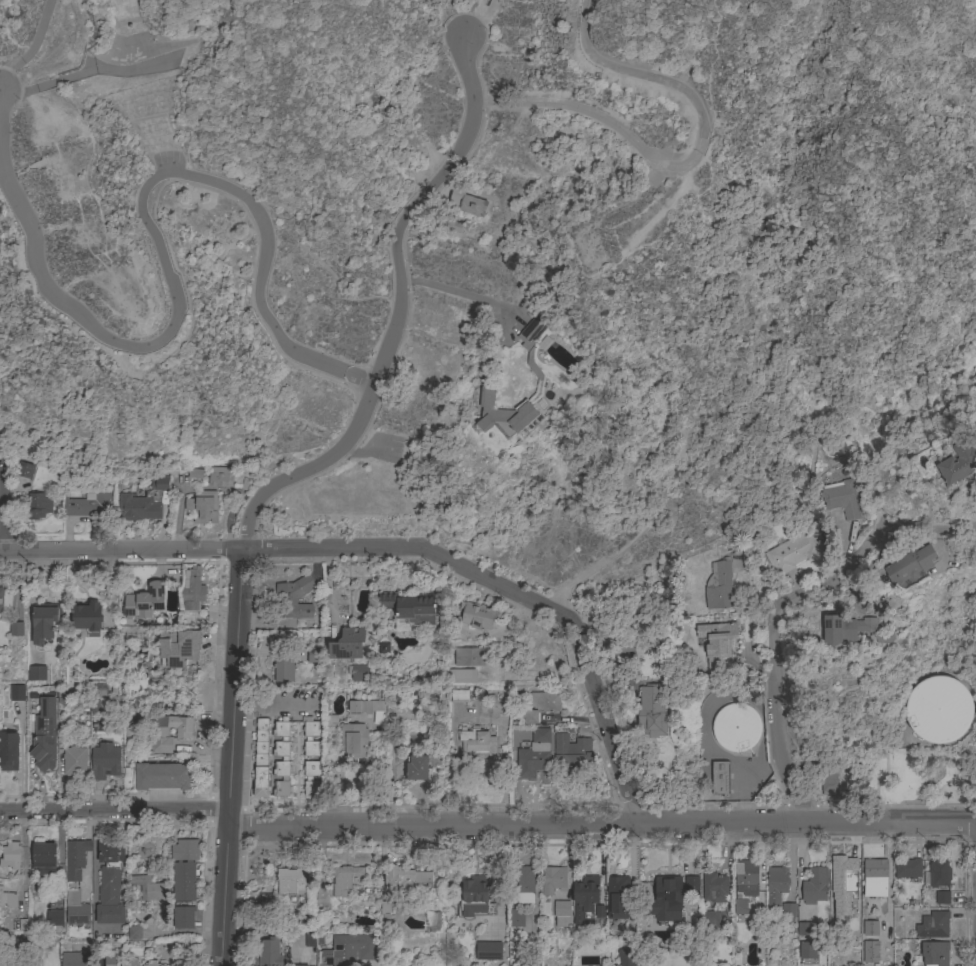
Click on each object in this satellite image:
parking lot: (167, 160)
road: (690, 164)
building: (466, 201)
road: (147, 221)
building: (442, 223)
road: (455, 293)
road: (394, 313)
building: (531, 342)
building: (503, 415)
road: (891, 439)
building: (957, 463)
building: (24, 470)
building: (195, 474)
building: (220, 477)
building: (841, 499)
building: (143, 502)
building: (88, 504)
building: (37, 505)
building: (203, 507)
road: (2, 514)
road: (931, 532)
road: (120, 550)
building: (794, 551)
building: (909, 564)
building: (719, 586)
building: (193, 591)
road: (509, 591)
building: (1, 600)
building: (144, 601)
building: (291, 602)
building: (409, 608)
building: (476, 616)
building: (87, 617)
building: (44, 621)
building: (15, 629)
building: (846, 629)
building: (884, 637)
building: (716, 642)
building: (347, 644)
building: (178, 648)
road: (775, 652)
building: (314, 656)
building: (469, 665)
building: (283, 669)
building: (37, 673)
building: (358, 673)
building: (16, 693)
building: (459, 696)
building: (64, 697)
building: (93, 702)
building: (540, 706)
building: (368, 709)
building: (937, 711)
storage tank: (937, 711)
building: (651, 714)
building: (331, 721)
building: (735, 727)
storage tank: (735, 727)
building: (183, 732)
building: (44, 736)
building: (352, 741)
building: (476, 742)
building: (261, 743)
building: (9, 751)
building: (571, 751)
building: (281, 754)
building: (534, 755)
road: (227, 757)
building: (74, 761)
building: (104, 761)
building: (417, 768)
building: (163, 777)
building: (720, 778)
building: (308, 779)
building: (829, 780)
building: (261, 783)
road: (112, 811)
road: (601, 825)
building: (10, 856)
building: (44, 858)
building: (184, 869)
building: (907, 869)
building: (937, 873)
building: (844, 876)
building: (406, 877)
building: (746, 877)
building: (875, 877)
building: (553, 880)
building: (292, 882)
building: (75, 883)
building: (109, 883)
building: (691, 884)
building: (524, 885)
building: (814, 885)
building: (338, 886)
building: (148, 888)
building: (714, 888)
building: (775, 888)
building: (668, 892)
building: (616, 897)
building: (942, 898)
building: (7, 899)
building: (479, 899)
building: (586, 901)
building: (740, 907)
building: (788, 911)
building: (562, 913)
building: (183, 917)
building: (54, 918)
building: (516, 918)
building: (434, 922)
building: (709, 922)
building: (932, 925)
building: (805, 929)
building: (869, 929)
building: (133, 932)
building: (309, 939)
building: (349, 949)
building: (488, 950)
building: (807, 950)
building: (270, 951)
building: (869, 953)
building: (934, 953)
building: (626, 957)
building: (74, 959)
building: (33, 961)
building: (110, 961)
building: (130, 962)
building: (151, 963)
building: (176, 963)
building: (298, 965)
road: (372, 965)

